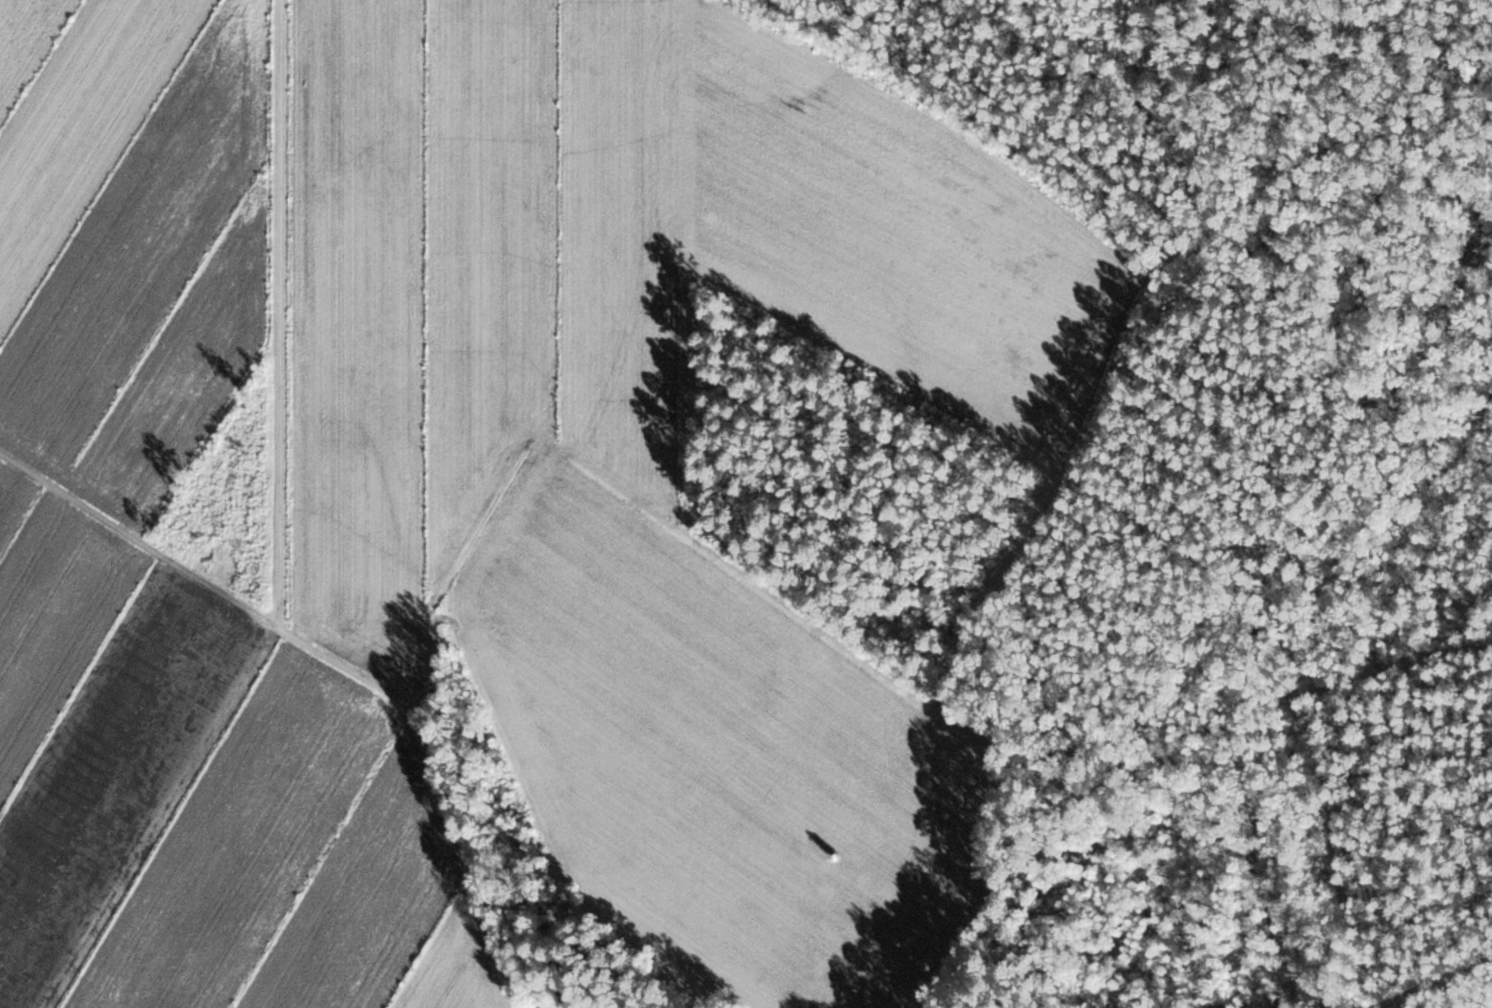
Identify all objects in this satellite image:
road: (256, 325)
road: (130, 583)
road: (391, 815)

